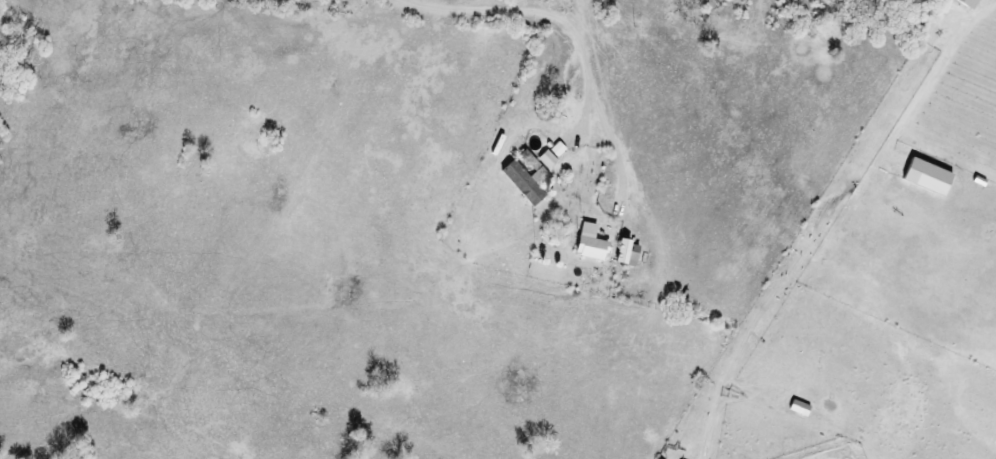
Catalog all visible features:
building: (961, 4)
road: (543, 7)
building: (548, 159)
building: (921, 177)
building: (527, 178)
building: (592, 243)
building: (630, 253)
building: (794, 407)

